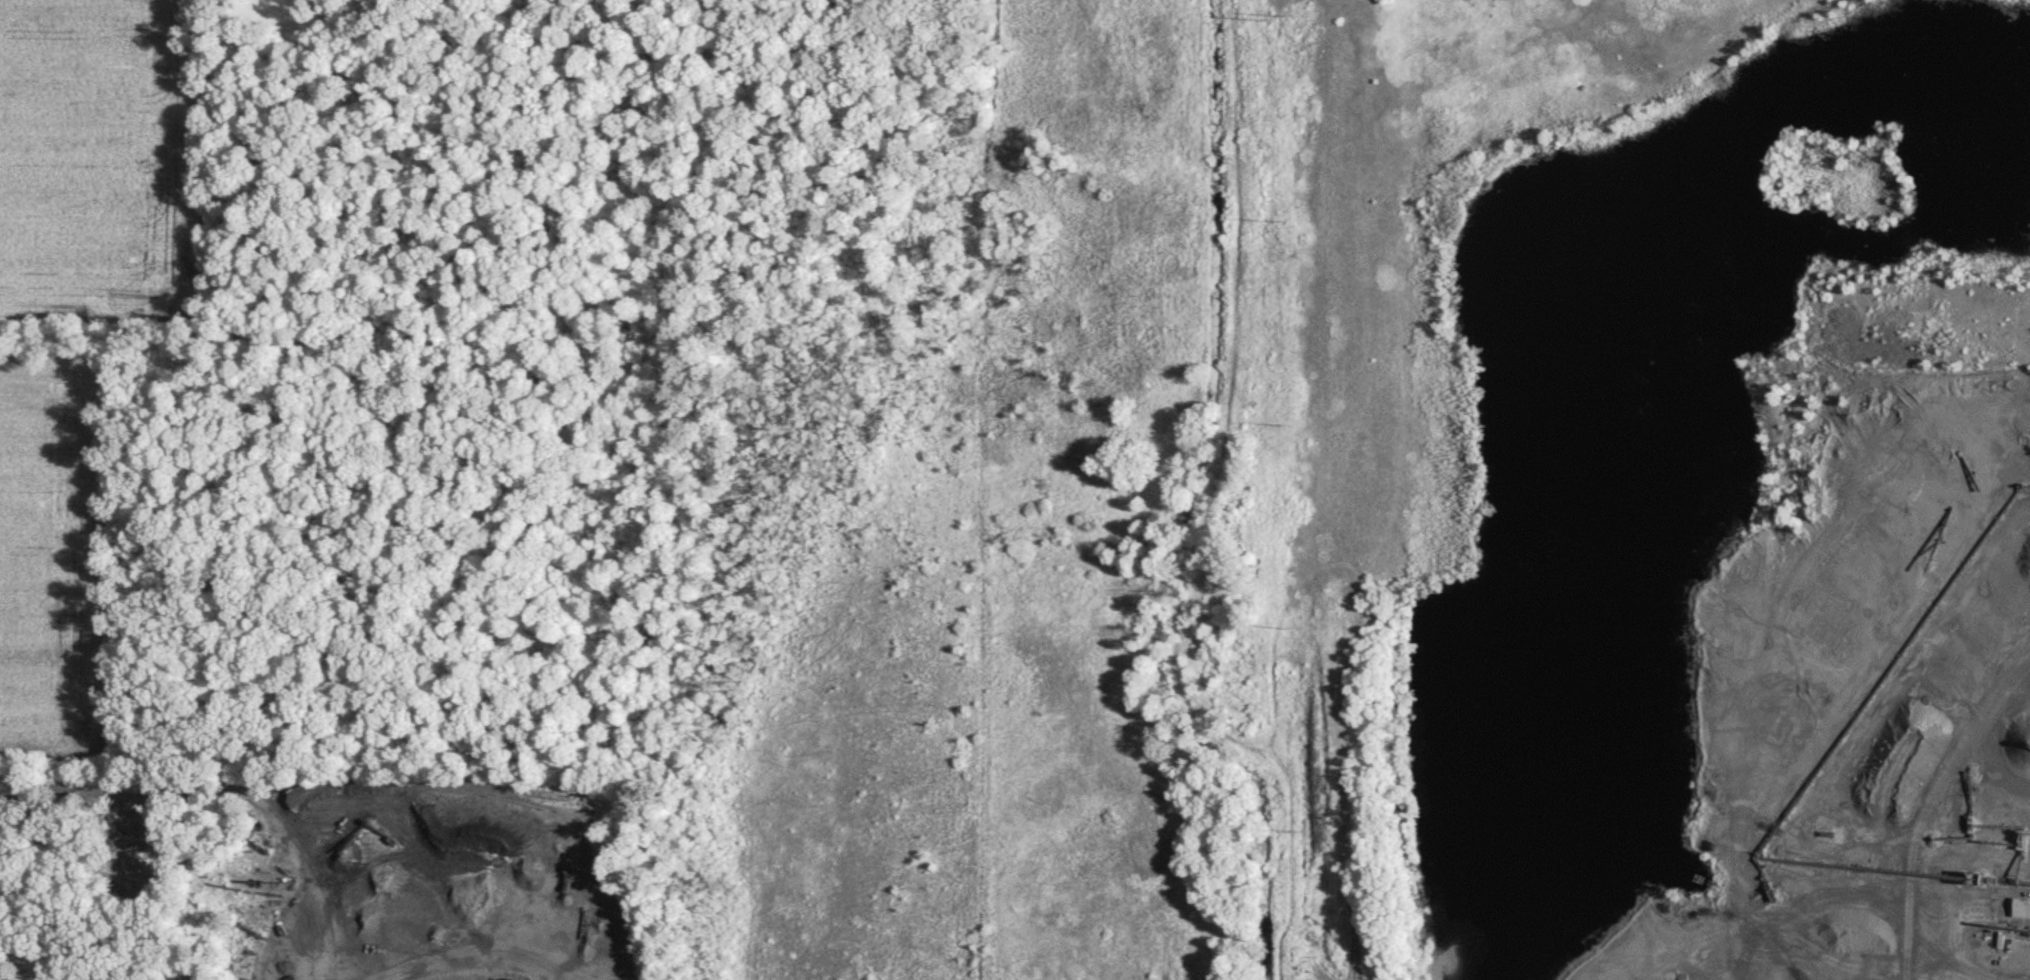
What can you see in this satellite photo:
building: (2025, 913)
road: (250, 972)

